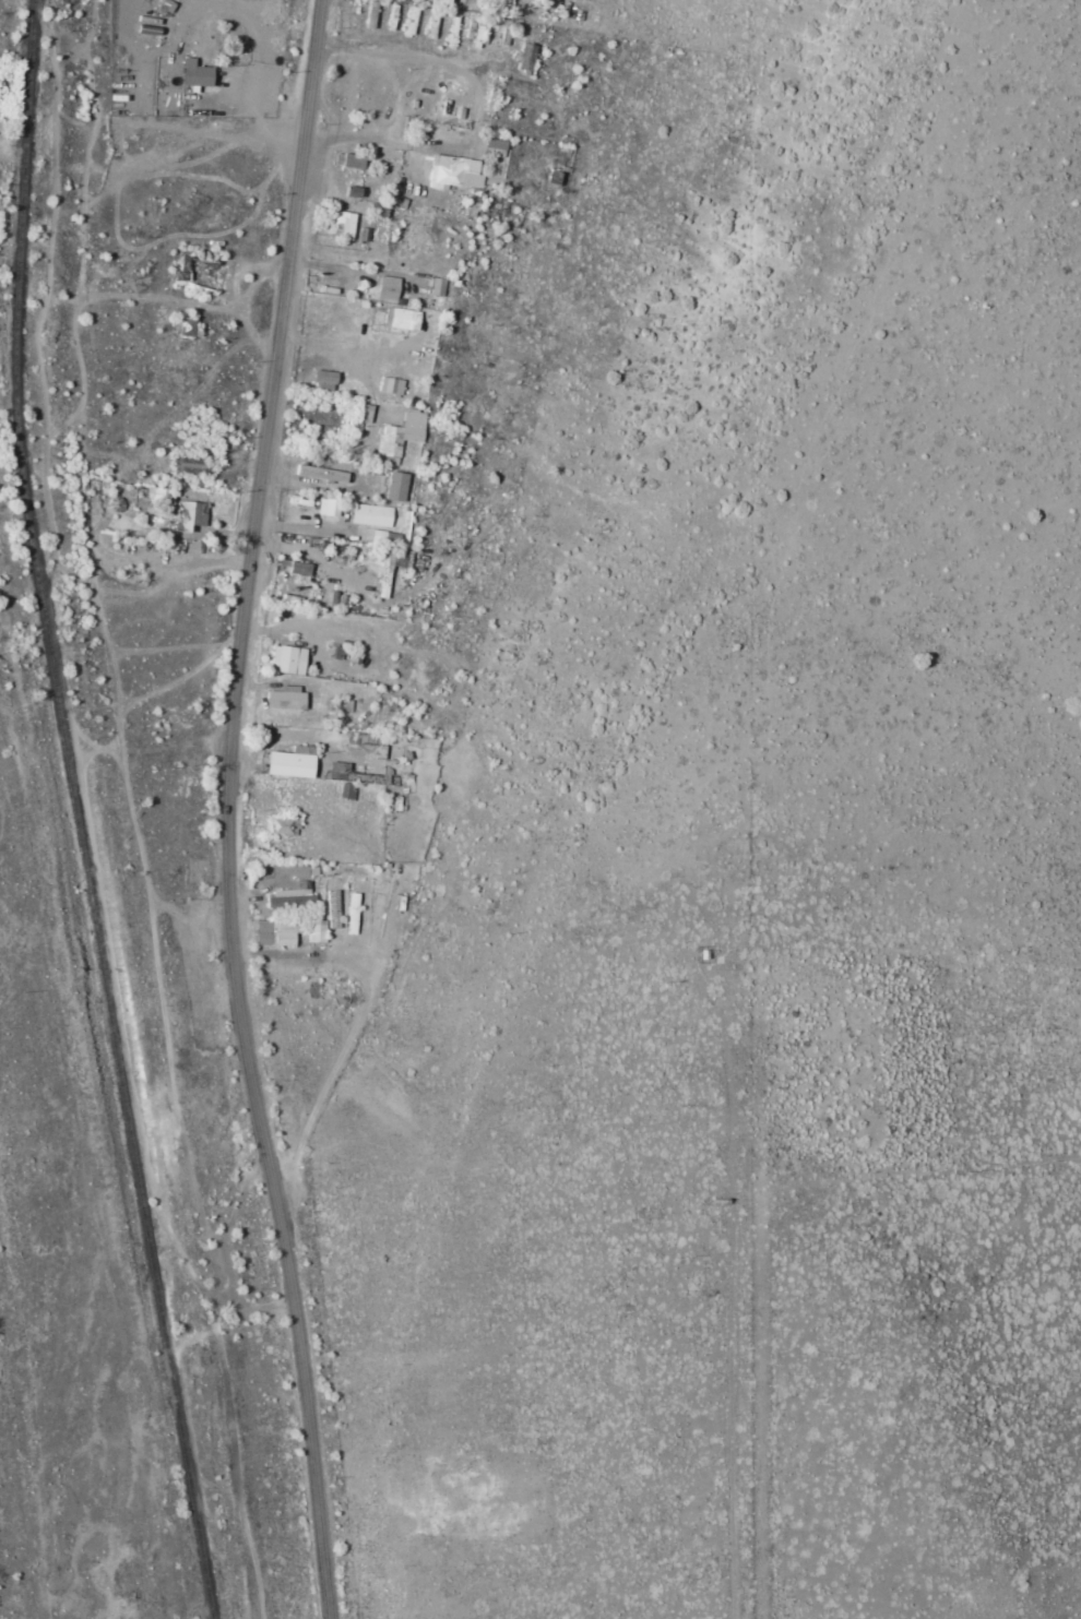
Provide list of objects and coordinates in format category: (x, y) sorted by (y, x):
building: (193, 74)
building: (492, 147)
building: (454, 172)
building: (340, 224)
building: (436, 287)
building: (385, 288)
building: (402, 319)
building: (322, 378)
building: (390, 385)
building: (400, 434)
building: (319, 474)
building: (395, 487)
building: (330, 508)
building: (369, 515)
building: (189, 516)
building: (297, 569)
building: (388, 571)
building: (286, 660)
building: (283, 699)
building: (288, 764)
road: (230, 810)
railway: (79, 812)
building: (282, 826)
building: (293, 892)
building: (352, 914)
building: (316, 931)
building: (275, 932)

